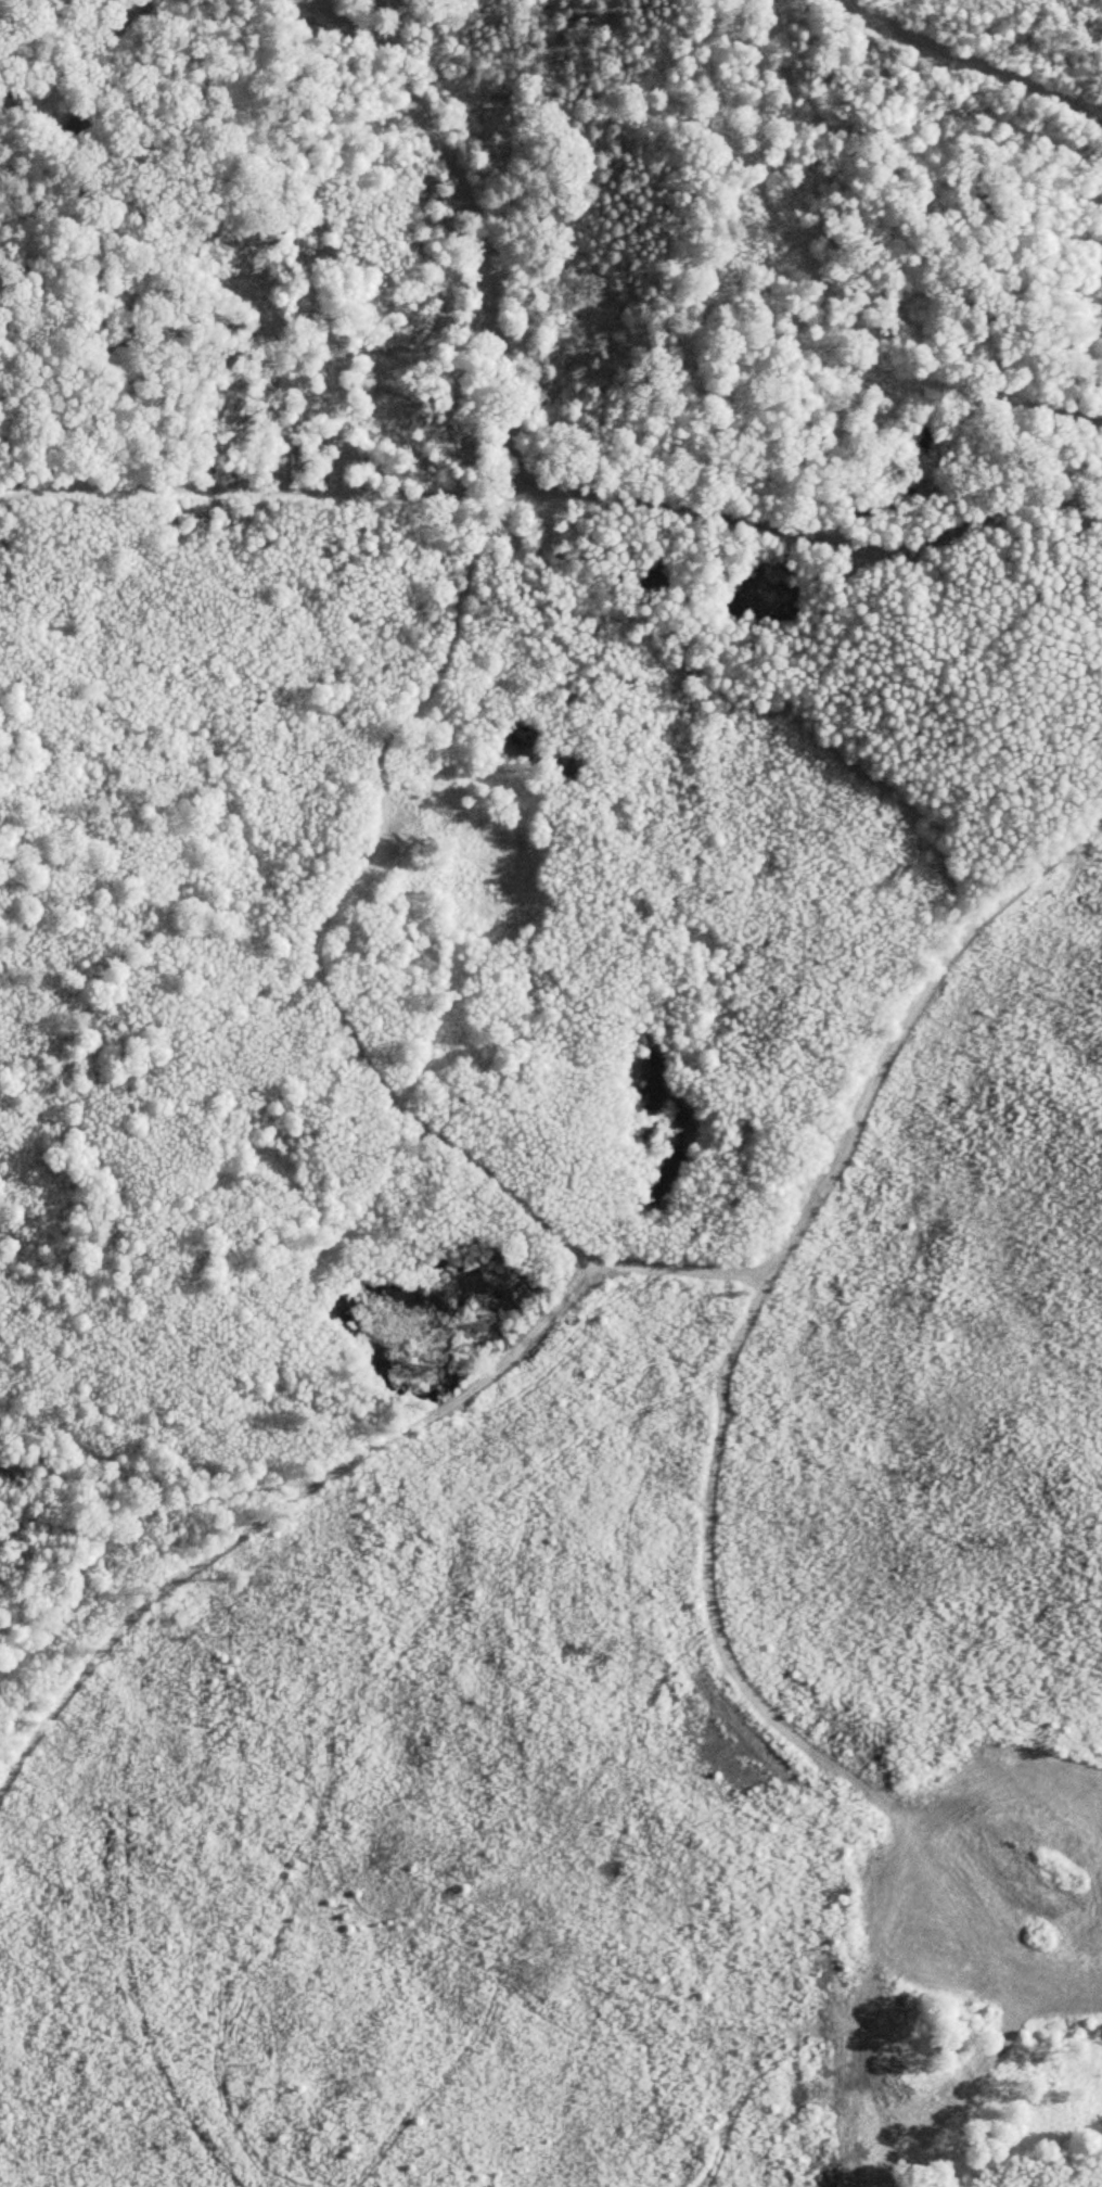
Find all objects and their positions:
road: (100, 37)
road: (977, 60)
road: (509, 483)
road: (810, 530)
road: (324, 992)
road: (755, 1296)
road: (384, 1429)
road: (190, 1566)
road: (933, 2099)

